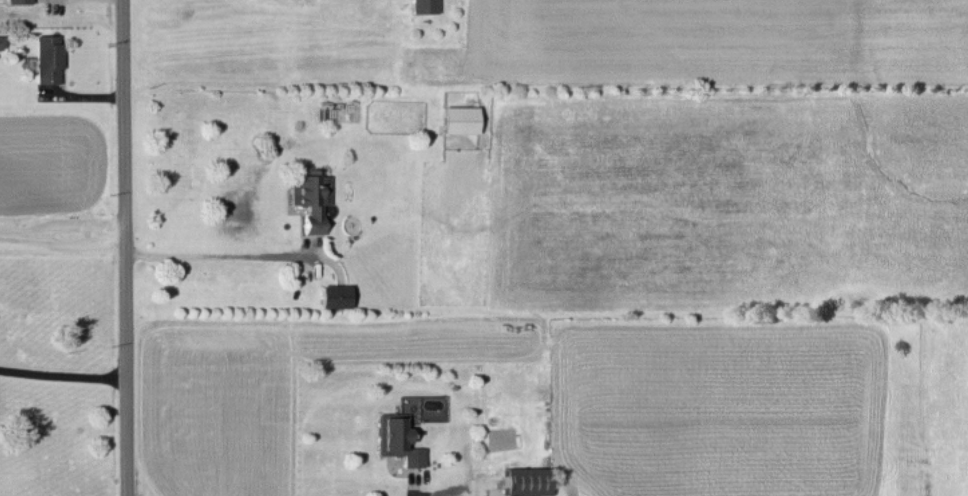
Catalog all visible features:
building: (16, 1)
building: (422, 6)
building: (1, 41)
building: (45, 57)
building: (458, 119)
building: (311, 197)
road: (57, 223)
road: (22, 232)
road: (125, 248)
road: (217, 255)
building: (334, 295)
road: (63, 374)
building: (396, 439)
building: (525, 480)

